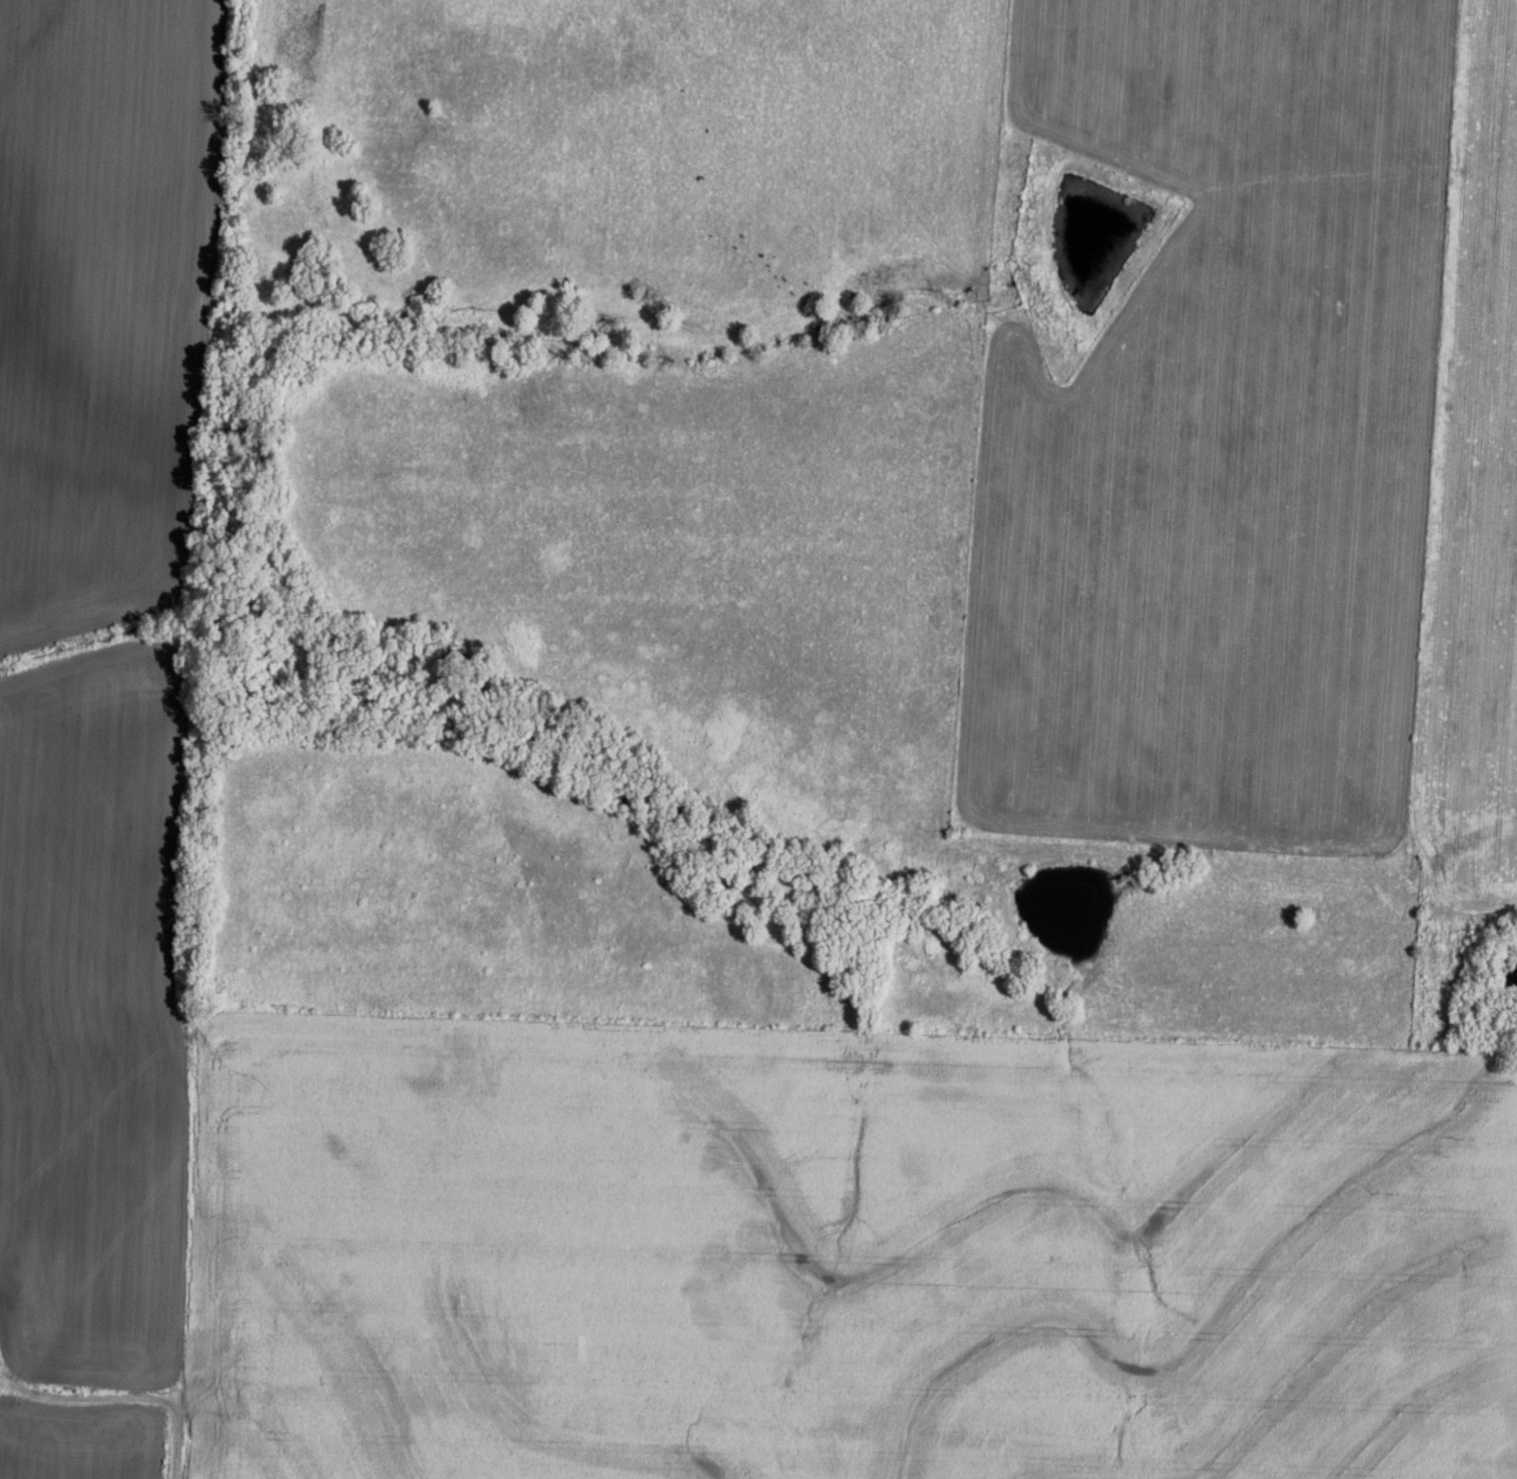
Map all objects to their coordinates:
road: (119, 1397)

